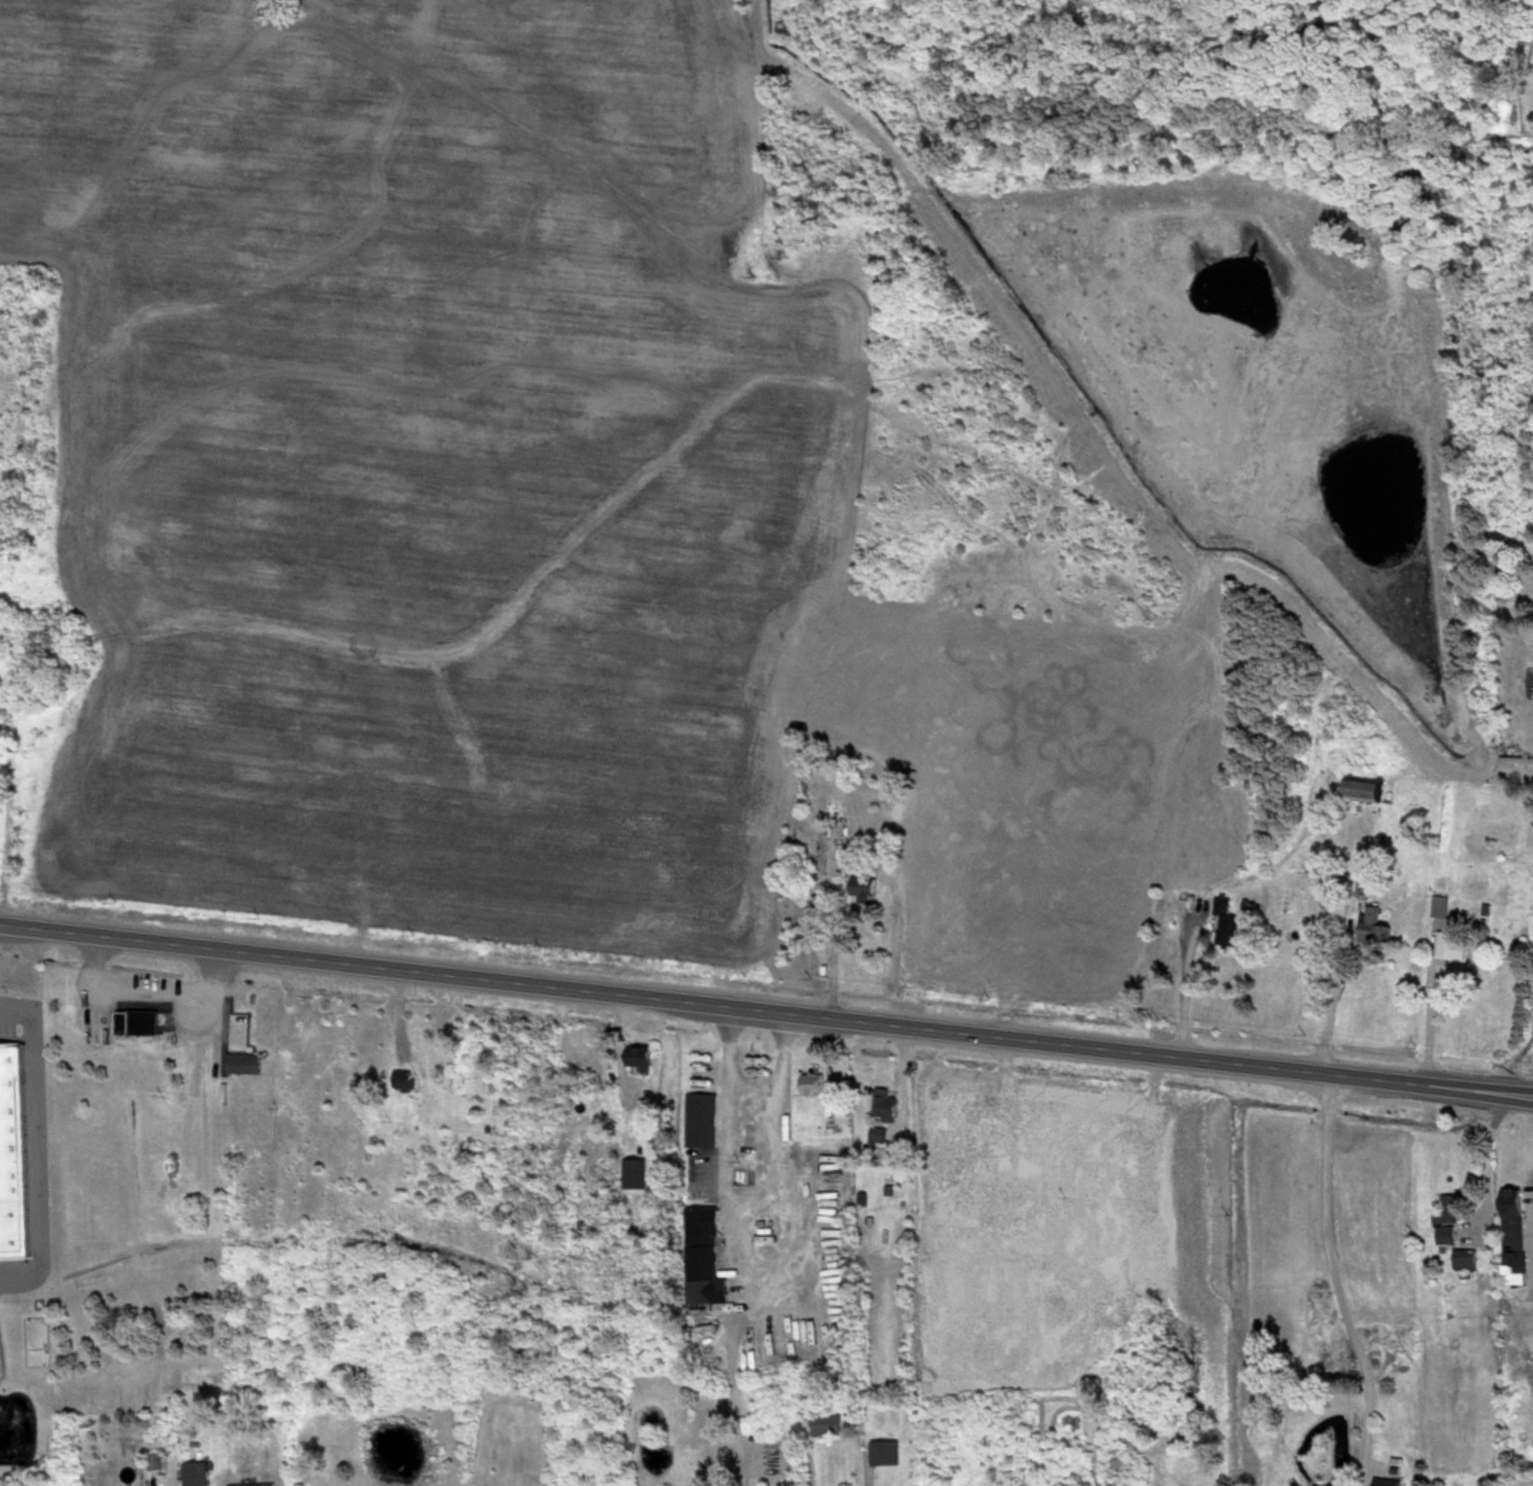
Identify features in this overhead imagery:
building: (1362, 789)
building: (833, 845)
building: (861, 886)
building: (1439, 905)
building: (1225, 921)
building: (1371, 924)
building: (1450, 944)
road: (833, 950)
road: (146, 992)
road: (1330, 1005)
road: (766, 1009)
building: (135, 1021)
building: (237, 1030)
building: (637, 1057)
building: (241, 1062)
building: (401, 1080)
building: (810, 1081)
building: (883, 1104)
building: (700, 1118)
building: (876, 1134)
road: (36, 1143)
building: (11, 1153)
building: (633, 1173)
road: (745, 1198)
building: (1447, 1208)
building: (1445, 1233)
building: (1512, 1235)
building: (703, 1256)
building: (1464, 1258)
road: (1337, 1282)
building: (826, 1423)
building: (882, 1452)
building: (194, 1473)
building: (1385, 1481)
building: (251, 1484)

